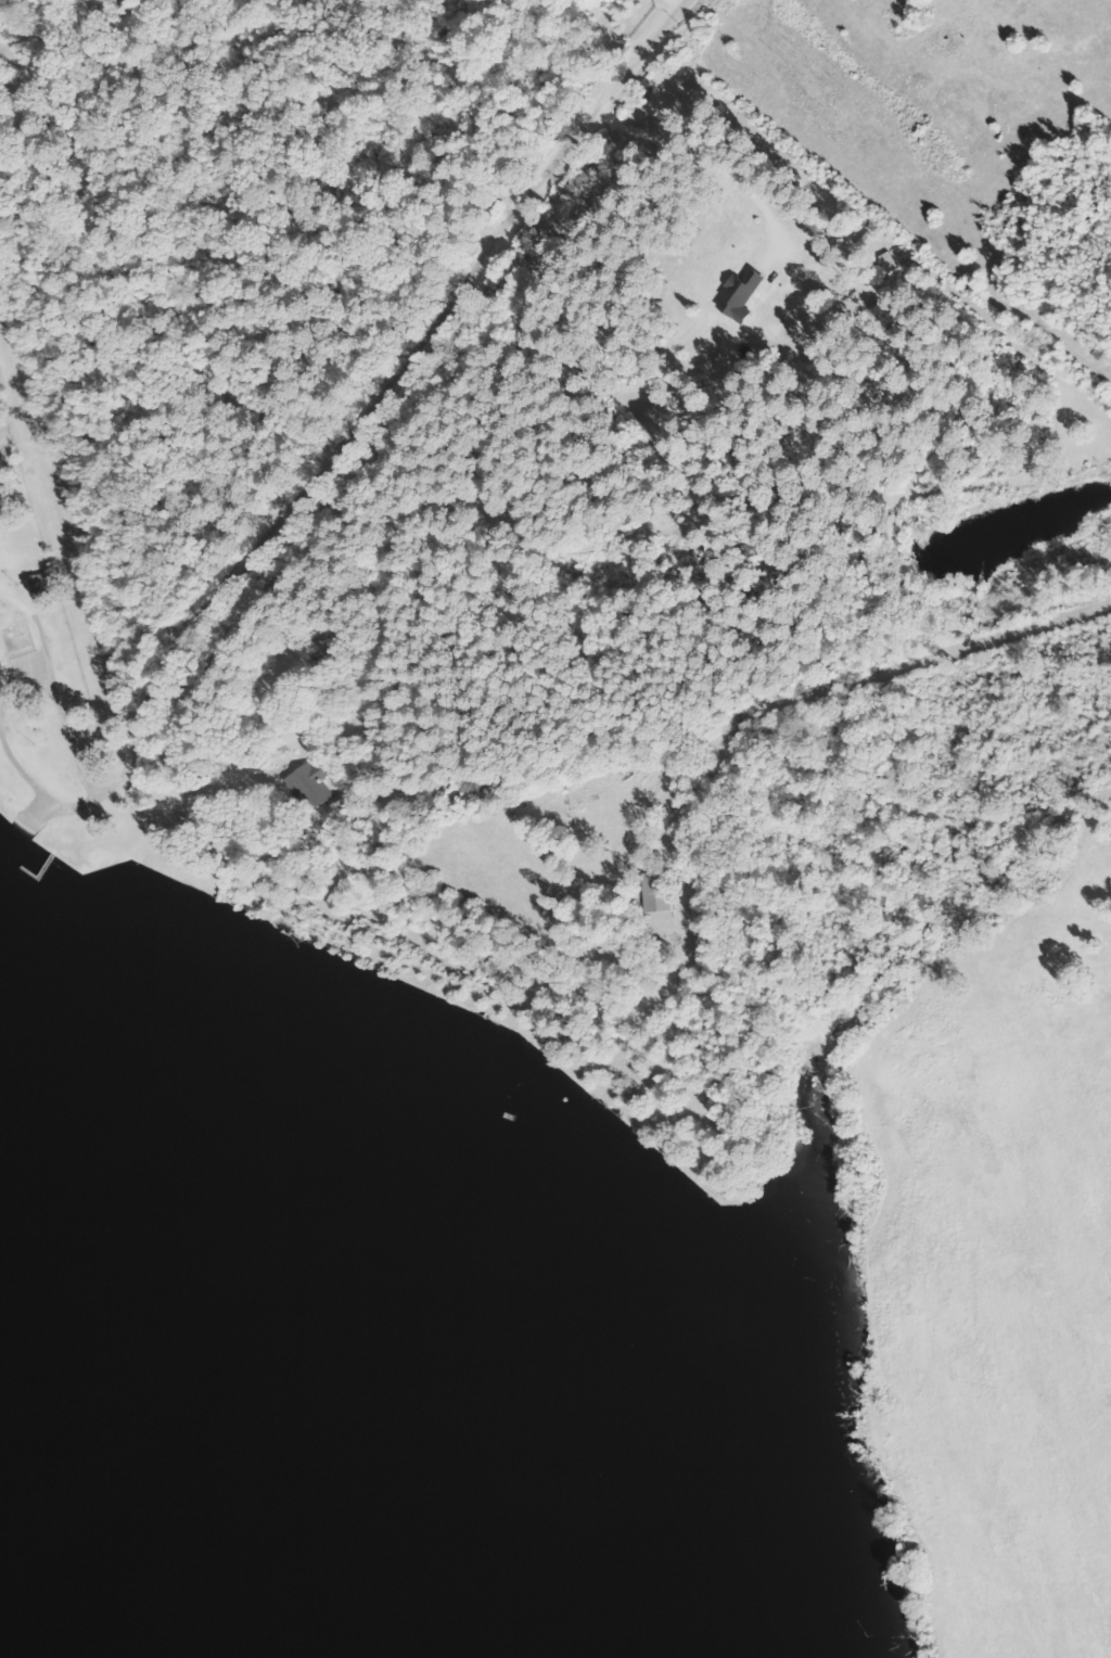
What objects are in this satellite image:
road: (560, 39)
road: (1062, 95)
road: (254, 122)
road: (195, 273)
road: (408, 365)
building: (38, 584)
building: (14, 640)
road: (382, 711)
building: (304, 785)
road: (294, 863)
building: (653, 896)

